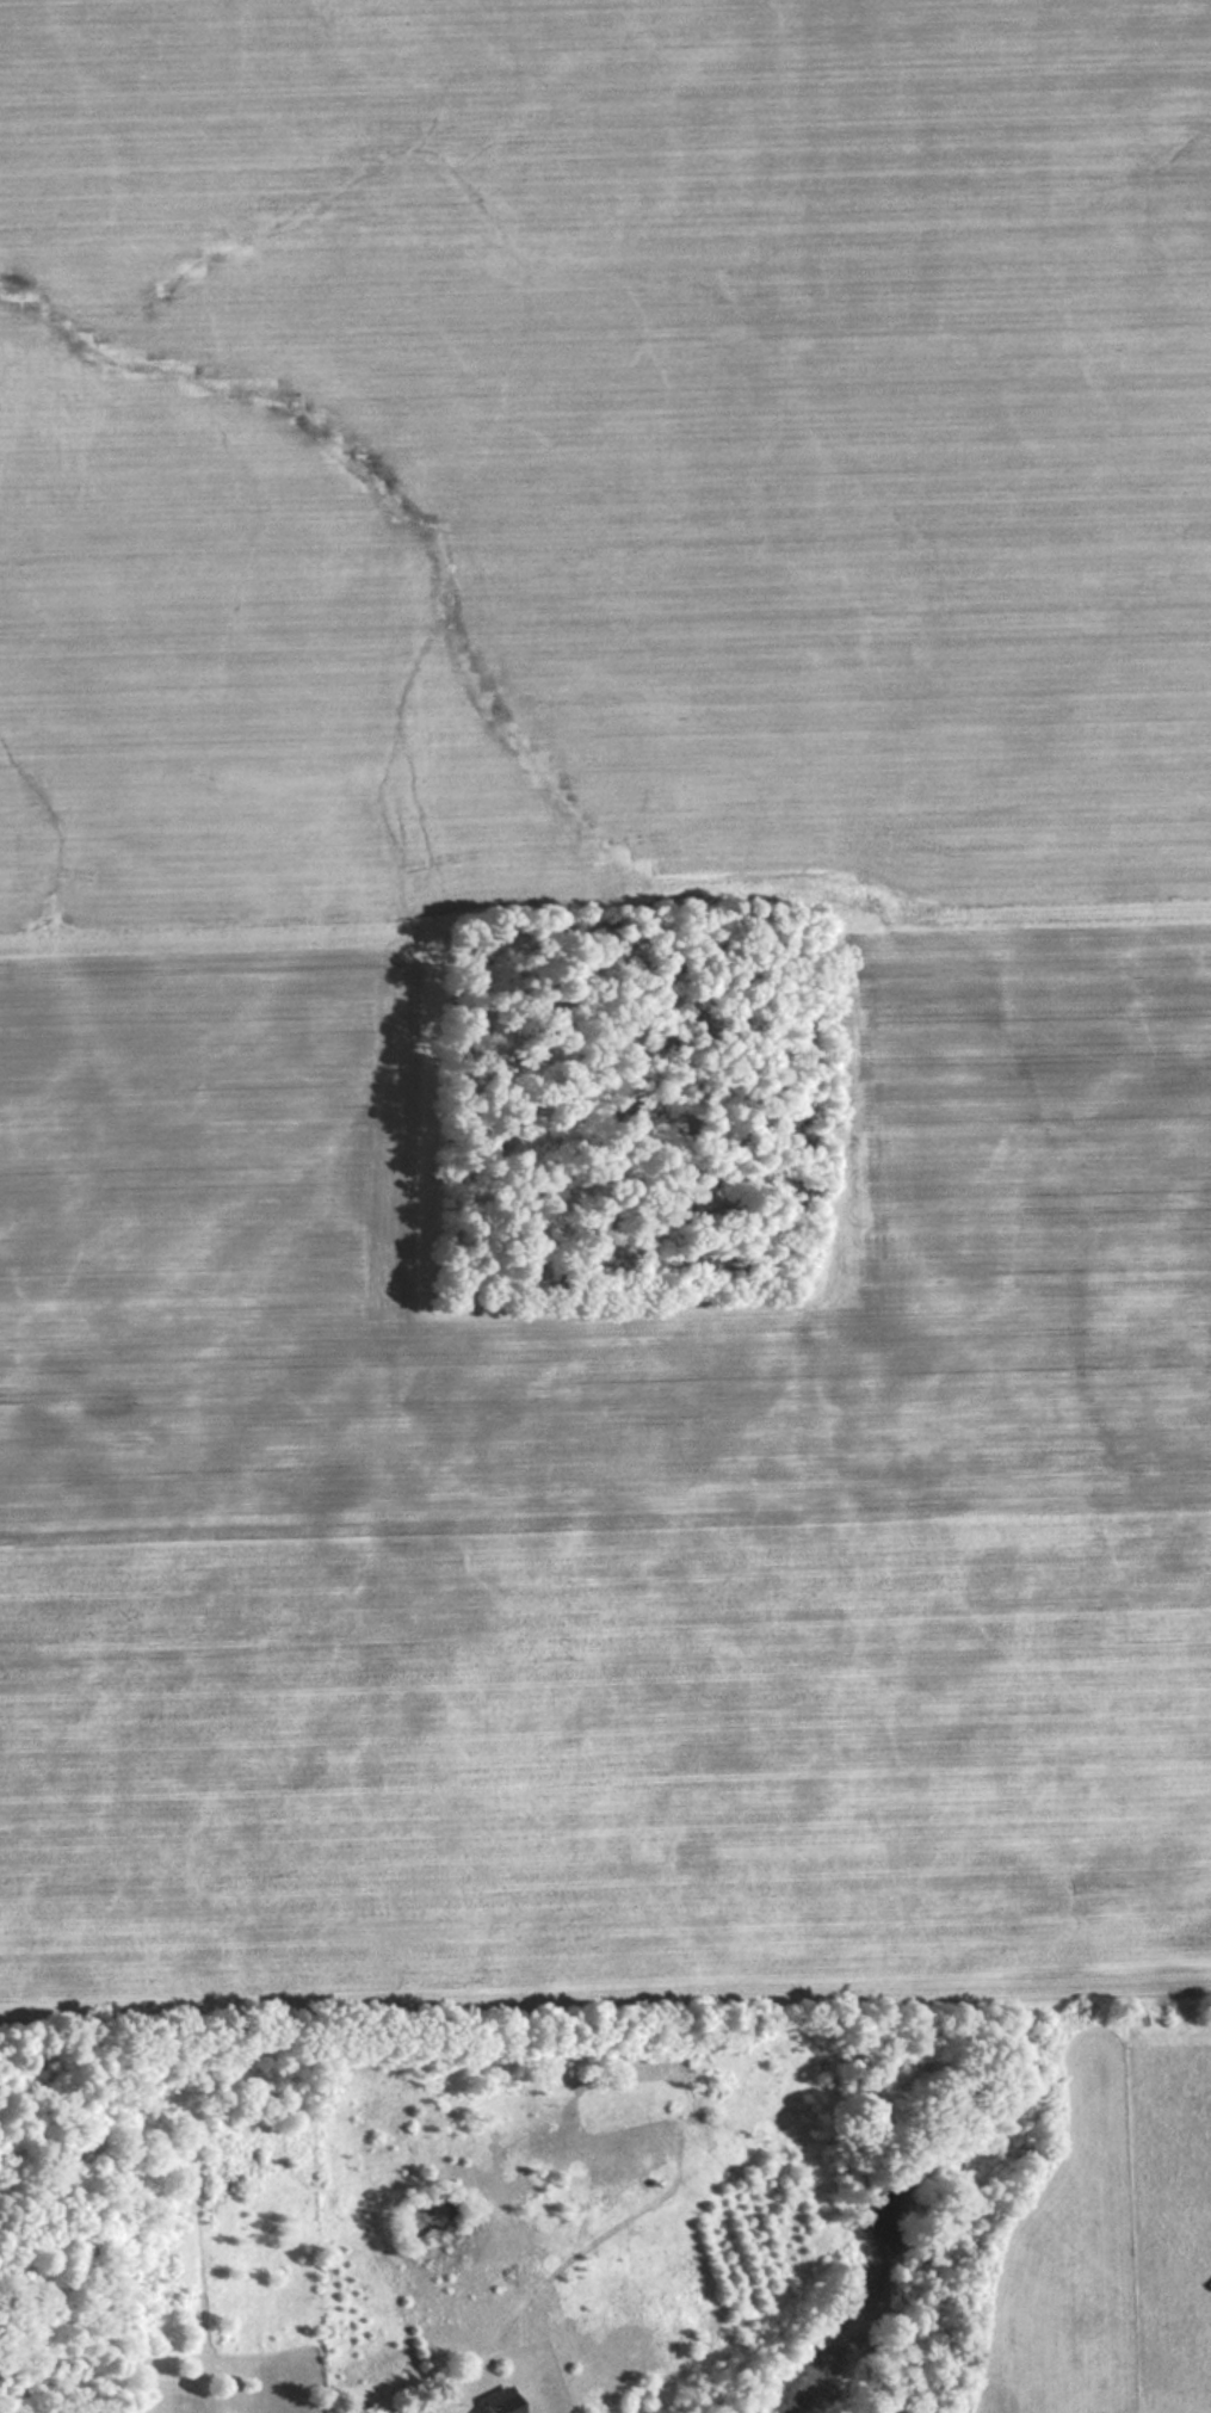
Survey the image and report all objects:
building: (501, 2401)

